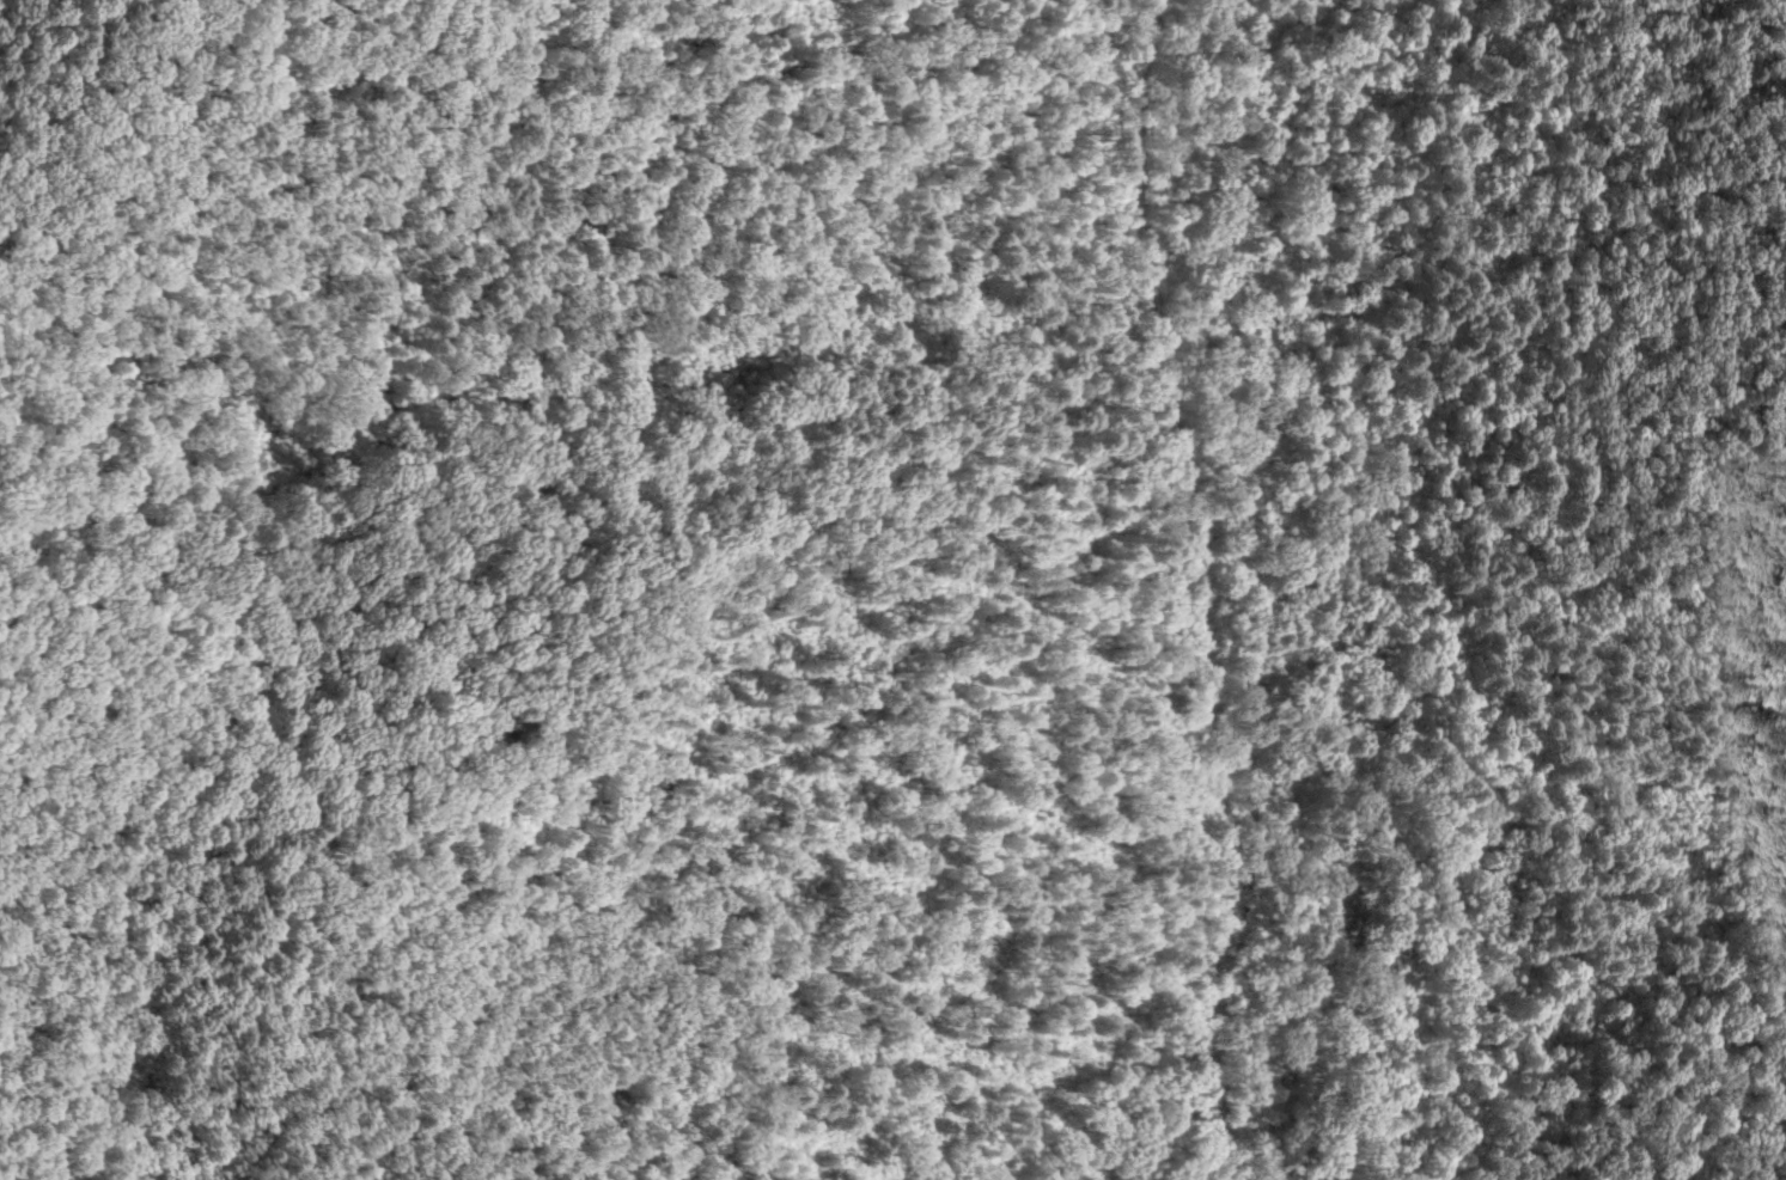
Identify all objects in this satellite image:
road: (1272, 593)

